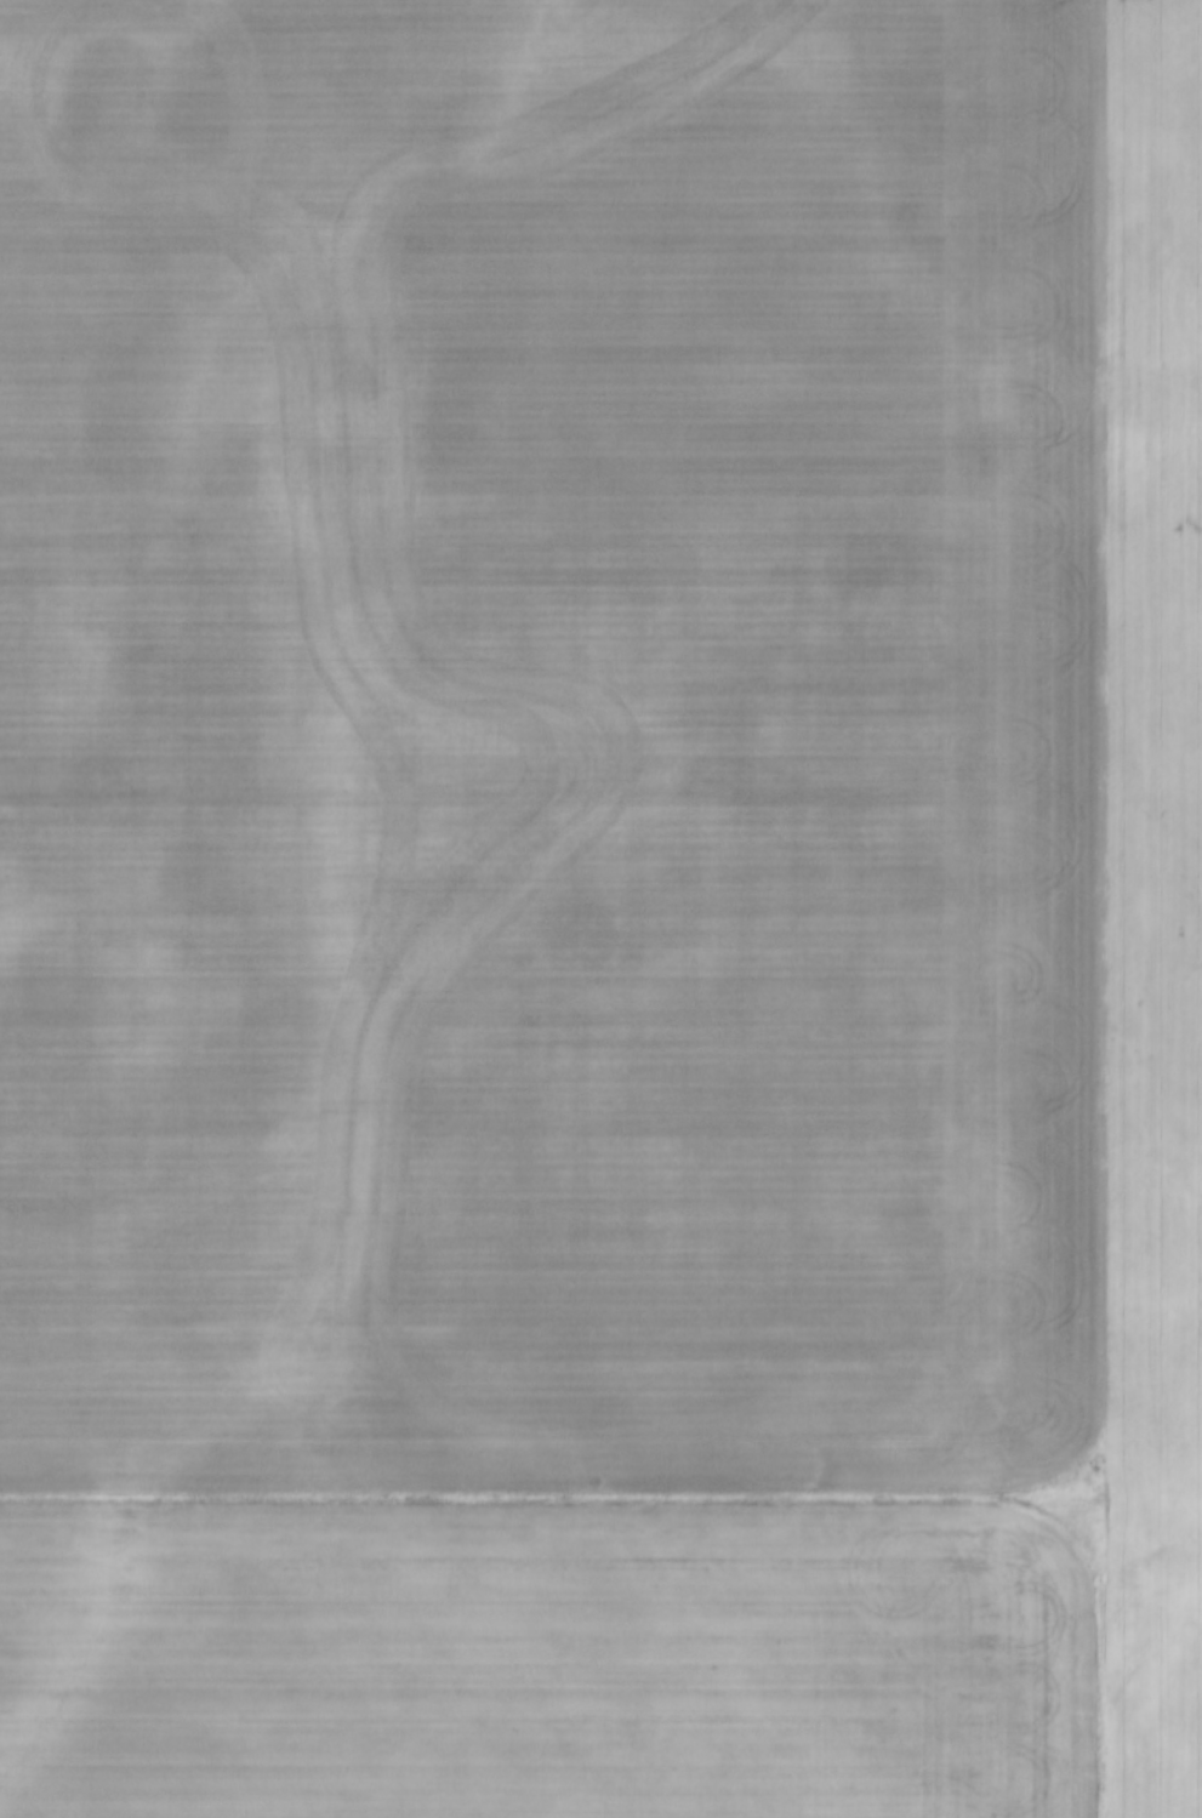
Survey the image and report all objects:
road: (1104, 1295)

